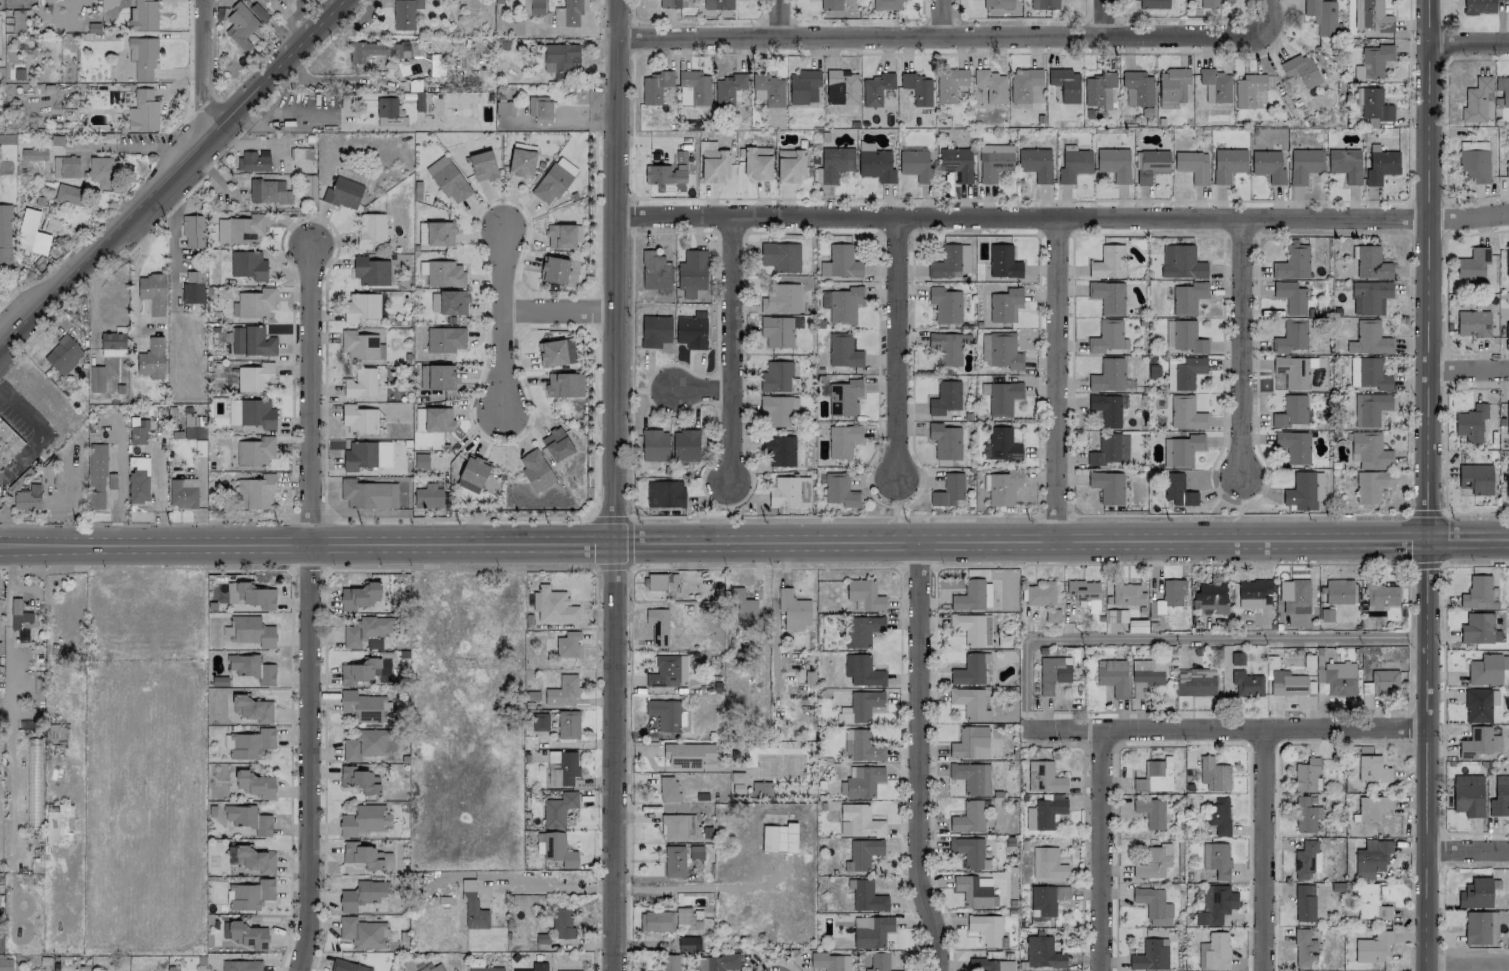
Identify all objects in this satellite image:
building: (263, 0)
building: (1504, 0)
building: (672, 3)
building: (997, 3)
building: (1210, 3)
building: (718, 4)
building: (831, 4)
building: (888, 4)
building: (1043, 4)
building: (1151, 4)
road: (1265, 5)
building: (531, 7)
building: (1478, 7)
building: (258, 12)
building: (405, 13)
building: (569, 13)
road: (1442, 13)
building: (143, 15)
building: (1323, 16)
building: (1371, 16)
road: (937, 17)
road: (1102, 17)
road: (781, 18)
building: (240, 26)
road: (947, 35)
road: (1442, 44)
road: (1468, 44)
building: (376, 50)
building: (142, 57)
building: (559, 60)
building: (1373, 61)
building: (1300, 69)
road: (201, 72)
building: (949, 84)
building: (1065, 84)
building: (991, 85)
building: (1024, 85)
building: (1215, 85)
building: (654, 86)
building: (803, 86)
building: (841, 87)
building: (1172, 87)
building: (693, 88)
building: (876, 88)
building: (917, 88)
building: (1137, 88)
building: (728, 89)
building: (1098, 89)
building: (1503, 89)
building: (768, 90)
building: (977, 90)
building: (1247, 90)
building: (1477, 100)
building: (421, 101)
building: (1374, 106)
building: (503, 107)
building: (540, 109)
building: (143, 112)
building: (389, 112)
road: (125, 146)
building: (301, 153)
building: (33, 154)
building: (254, 160)
building: (521, 162)
building: (956, 162)
building: (757, 163)
building: (835, 163)
building: (1035, 163)
building: (1114, 163)
road: (1445, 163)
building: (993, 164)
building: (1228, 164)
building: (1304, 164)
building: (1345, 164)
building: (1475, 164)
building: (714, 165)
building: (790, 165)
building: (876, 165)
building: (915, 165)
building: (1073, 165)
building: (1150, 165)
building: (1192, 165)
building: (1268, 165)
building: (1379, 165)
building: (65, 166)
building: (482, 166)
building: (1507, 169)
building: (101, 170)
road: (173, 174)
building: (665, 174)
building: (309, 180)
building: (448, 180)
building: (553, 180)
building: (345, 189)
building: (268, 192)
building: (69, 194)
road: (1467, 217)
road: (1021, 218)
road: (175, 225)
building: (240, 229)
building: (370, 229)
building: (193, 231)
building: (436, 233)
building: (5, 236)
building: (560, 236)
building: (780, 256)
building: (1507, 259)
building: (840, 262)
building: (946, 262)
building: (1003, 262)
building: (1108, 262)
building: (1181, 262)
building: (1292, 263)
building: (1371, 263)
building: (248, 265)
building: (1470, 265)
building: (558, 270)
building: (371, 271)
road: (616, 271)
building: (654, 272)
building: (692, 272)
building: (445, 273)
road: (131, 287)
building: (193, 287)
building: (152, 293)
road: (1443, 294)
building: (1107, 297)
building: (1290, 297)
building: (1369, 297)
building: (1187, 298)
building: (781, 299)
building: (448, 302)
building: (254, 303)
building: (842, 304)
building: (945, 305)
building: (1004, 305)
building: (361, 307)
road: (560, 312)
road: (503, 321)
building: (1472, 323)
building: (656, 330)
building: (692, 330)
building: (778, 330)
building: (1507, 330)
road: (5, 333)
building: (1107, 337)
building: (1187, 337)
building: (1290, 337)
building: (1369, 338)
building: (445, 339)
building: (105, 340)
building: (251, 341)
building: (359, 345)
road: (899, 347)
building: (948, 347)
road: (733, 350)
building: (843, 350)
building: (1000, 350)
road: (1245, 350)
building: (556, 352)
building: (63, 355)
building: (151, 359)
building: (1292, 371)
road: (1468, 371)
building: (1183, 372)
building: (1369, 374)
building: (1107, 375)
building: (776, 376)
building: (255, 377)
building: (437, 377)
road: (1055, 380)
building: (360, 383)
building: (562, 385)
road: (707, 392)
road: (313, 397)
building: (844, 397)
building: (1001, 397)
building: (945, 398)
road: (19, 409)
building: (778, 409)
building: (1106, 409)
building: (1369, 409)
building: (1291, 411)
building: (251, 413)
building: (1185, 413)
building: (1507, 418)
building: (359, 419)
building: (433, 419)
building: (1470, 423)
road: (1441, 424)
building: (193, 426)
building: (138, 430)
building: (842, 440)
building: (945, 441)
building: (8, 443)
building: (556, 444)
building: (654, 445)
building: (685, 445)
building: (1001, 445)
building: (1294, 446)
building: (1110, 449)
building: (1181, 450)
building: (255, 451)
building: (779, 451)
building: (1369, 451)
road: (24, 454)
building: (367, 455)
building: (418, 462)
building: (473, 470)
building: (535, 470)
building: (96, 476)
building: (1475, 478)
building: (1507, 480)
building: (138, 485)
road: (158, 485)
road: (1426, 485)
building: (1107, 486)
building: (1318, 486)
building: (1371, 486)
building: (1002, 487)
building: (839, 490)
building: (948, 490)
building: (1177, 490)
building: (1300, 491)
building: (789, 492)
building: (182, 493)
building: (255, 493)
building: (665, 493)
building: (368, 494)
building: (403, 494)
building: (428, 496)
building: (26, 501)
road: (1425, 512)
road: (1482, 513)
road: (754, 542)
building: (661, 582)
building: (1338, 591)
building: (1084, 593)
building: (1252, 593)
building: (1478, 593)
building: (1040, 594)
building: (1127, 594)
building: (254, 595)
building: (359, 595)
building: (864, 595)
building: (987, 595)
building: (1171, 595)
building: (969, 596)
building: (1210, 597)
building: (1297, 597)
building: (1381, 597)
building: (555, 606)
building: (743, 609)
building: (793, 610)
building: (1052, 615)
building: (1325, 615)
building: (657, 625)
building: (972, 628)
building: (1479, 629)
building: (862, 630)
building: (252, 631)
building: (366, 632)
road: (1180, 637)
building: (567, 644)
building: (1237, 658)
building: (1486, 669)
building: (862, 670)
building: (969, 670)
building: (250, 671)
building: (366, 671)
building: (667, 671)
building: (1053, 673)
building: (1145, 675)
building: (1112, 676)
building: (1337, 677)
building: (1384, 681)
building: (1246, 683)
building: (1287, 683)
building: (1196, 685)
building: (562, 691)
road: (1443, 699)
building: (969, 702)
building: (363, 706)
building: (860, 706)
building: (252, 708)
building: (666, 714)
building: (540, 722)
building: (567, 724)
road: (1228, 730)
building: (251, 743)
building: (970, 743)
building: (1479, 743)
building: (368, 744)
building: (861, 746)
building: (689, 755)
road: (615, 757)
road: (917, 757)
road: (310, 758)
building: (562, 768)
building: (1373, 771)
building: (1214, 775)
building: (1307, 775)
building: (971, 777)
building: (1154, 777)
building: (1045, 779)
building: (359, 780)
building: (737, 782)
building: (861, 782)
building: (256, 784)
building: (761, 788)
building: (668, 789)
building: (1468, 795)
building: (1500, 797)
building: (1372, 807)
building: (558, 809)
building: (1045, 812)
building: (1151, 812)
building: (1219, 816)
building: (968, 817)
building: (248, 819)
building: (364, 819)
building: (858, 821)
building: (60, 825)
building: (677, 827)
building: (779, 838)
building: (558, 850)
road: (1263, 850)
building: (968, 851)
road: (1101, 851)
road: (1468, 852)
building: (695, 853)
building: (864, 853)
building: (362, 855)
building: (1371, 858)
building: (1216, 859)
building: (1306, 859)
building: (256, 860)
building: (674, 861)
building: (1154, 862)
building: (1047, 864)
road: (556, 885)
road: (1442, 886)
road: (696, 889)
building: (973, 892)
building: (1476, 893)
building: (251, 894)
building: (361, 895)
building: (867, 896)
building: (1045, 902)
building: (1304, 903)
building: (1370, 903)
building: (1153, 905)
building: (1213, 905)
building: (472, 906)
building: (685, 919)
building: (656, 921)
building: (563, 923)
building: (1477, 928)
building: (225, 929)
building: (987, 930)
building: (871, 931)
building: (362, 933)
building: (248, 935)
building: (684, 944)
building: (1372, 947)
building: (1304, 949)
building: (1214, 952)
building: (1042, 953)
building: (1150, 955)
building: (829, 961)
building: (878, 961)
building: (668, 962)
building: (717, 962)
road: (1468, 963)
building: (241, 965)
building: (990, 965)
building: (349, 966)
building: (434, 967)
building: (535, 967)
building: (485, 969)
building: (578, 970)

